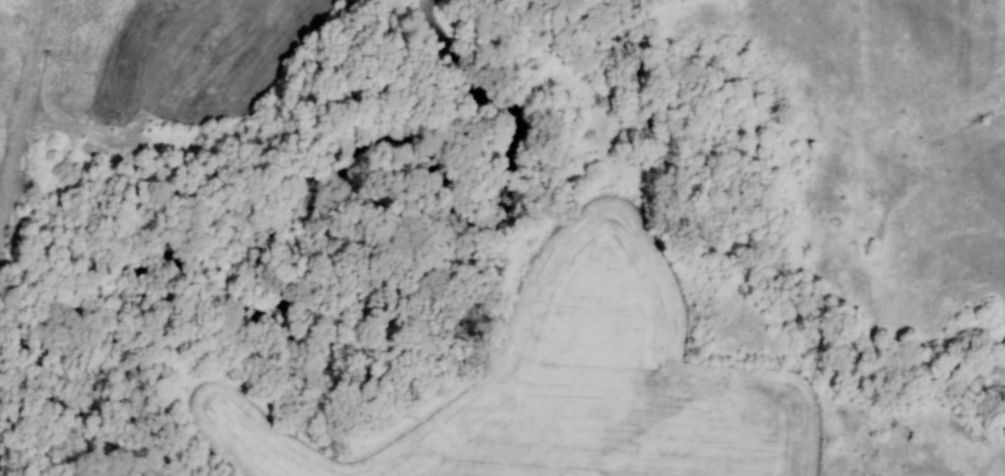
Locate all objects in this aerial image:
road: (21, 121)

